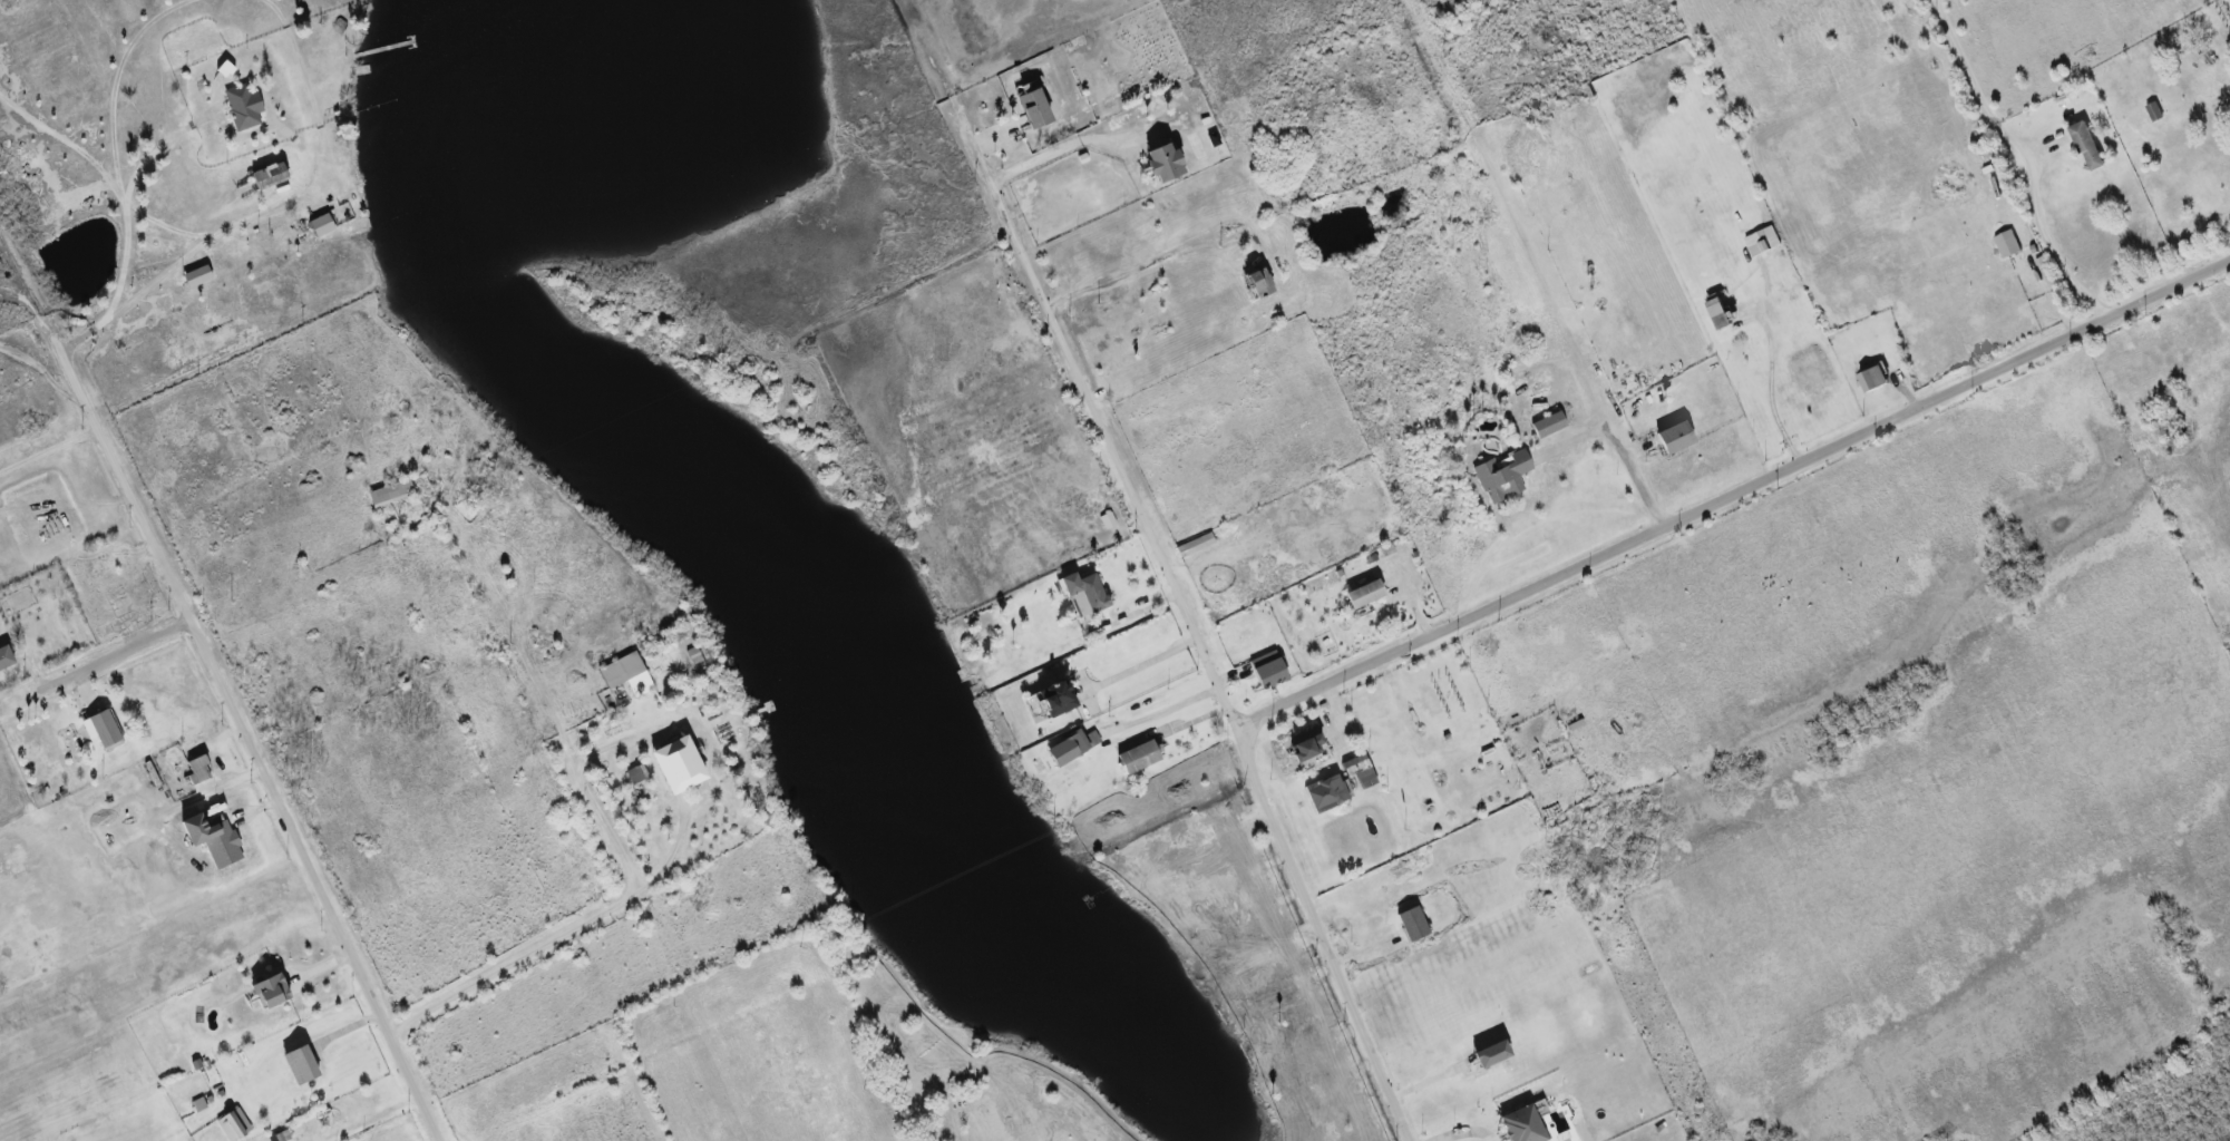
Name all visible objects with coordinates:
building: (243, 107)
building: (1033, 109)
road: (69, 144)
building: (2087, 146)
road: (1063, 147)
road: (2035, 155)
building: (1163, 163)
building: (270, 176)
road: (127, 196)
building: (322, 225)
building: (1763, 242)
building: (2007, 244)
road: (1156, 259)
road: (179, 260)
building: (197, 276)
building: (1258, 283)
building: (1722, 313)
building: (1874, 378)
road: (77, 387)
road: (1771, 387)
road: (1092, 408)
building: (1549, 425)
building: (1674, 438)
road: (1619, 446)
road: (50, 452)
building: (1501, 476)
building: (391, 494)
road: (1735, 494)
building: (1196, 545)
building: (1084, 594)
building: (1364, 594)
road: (123, 651)
building: (6, 657)
road: (1137, 666)
building: (1268, 670)
building: (626, 674)
building: (1055, 699)
road: (1161, 712)
building: (104, 730)
building: (1303, 744)
building: (1068, 749)
building: (1138, 757)
building: (678, 765)
building: (198, 770)
building: (1360, 770)
building: (636, 774)
road: (266, 780)
building: (1327, 793)
building: (213, 839)
building: (1412, 924)
road: (568, 935)
road: (1323, 938)
building: (271, 991)
building: (1491, 1054)
building: (300, 1065)
building: (199, 1105)
building: (234, 1124)
building: (1521, 1124)
road: (1463, 1133)

